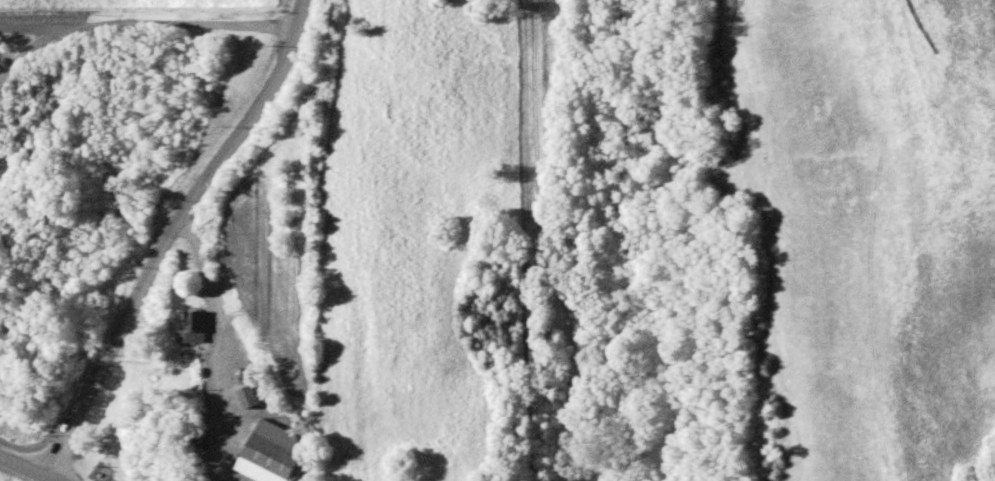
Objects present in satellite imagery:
road: (149, 21)
road: (29, 48)
road: (172, 232)
road: (25, 464)
road: (55, 478)

